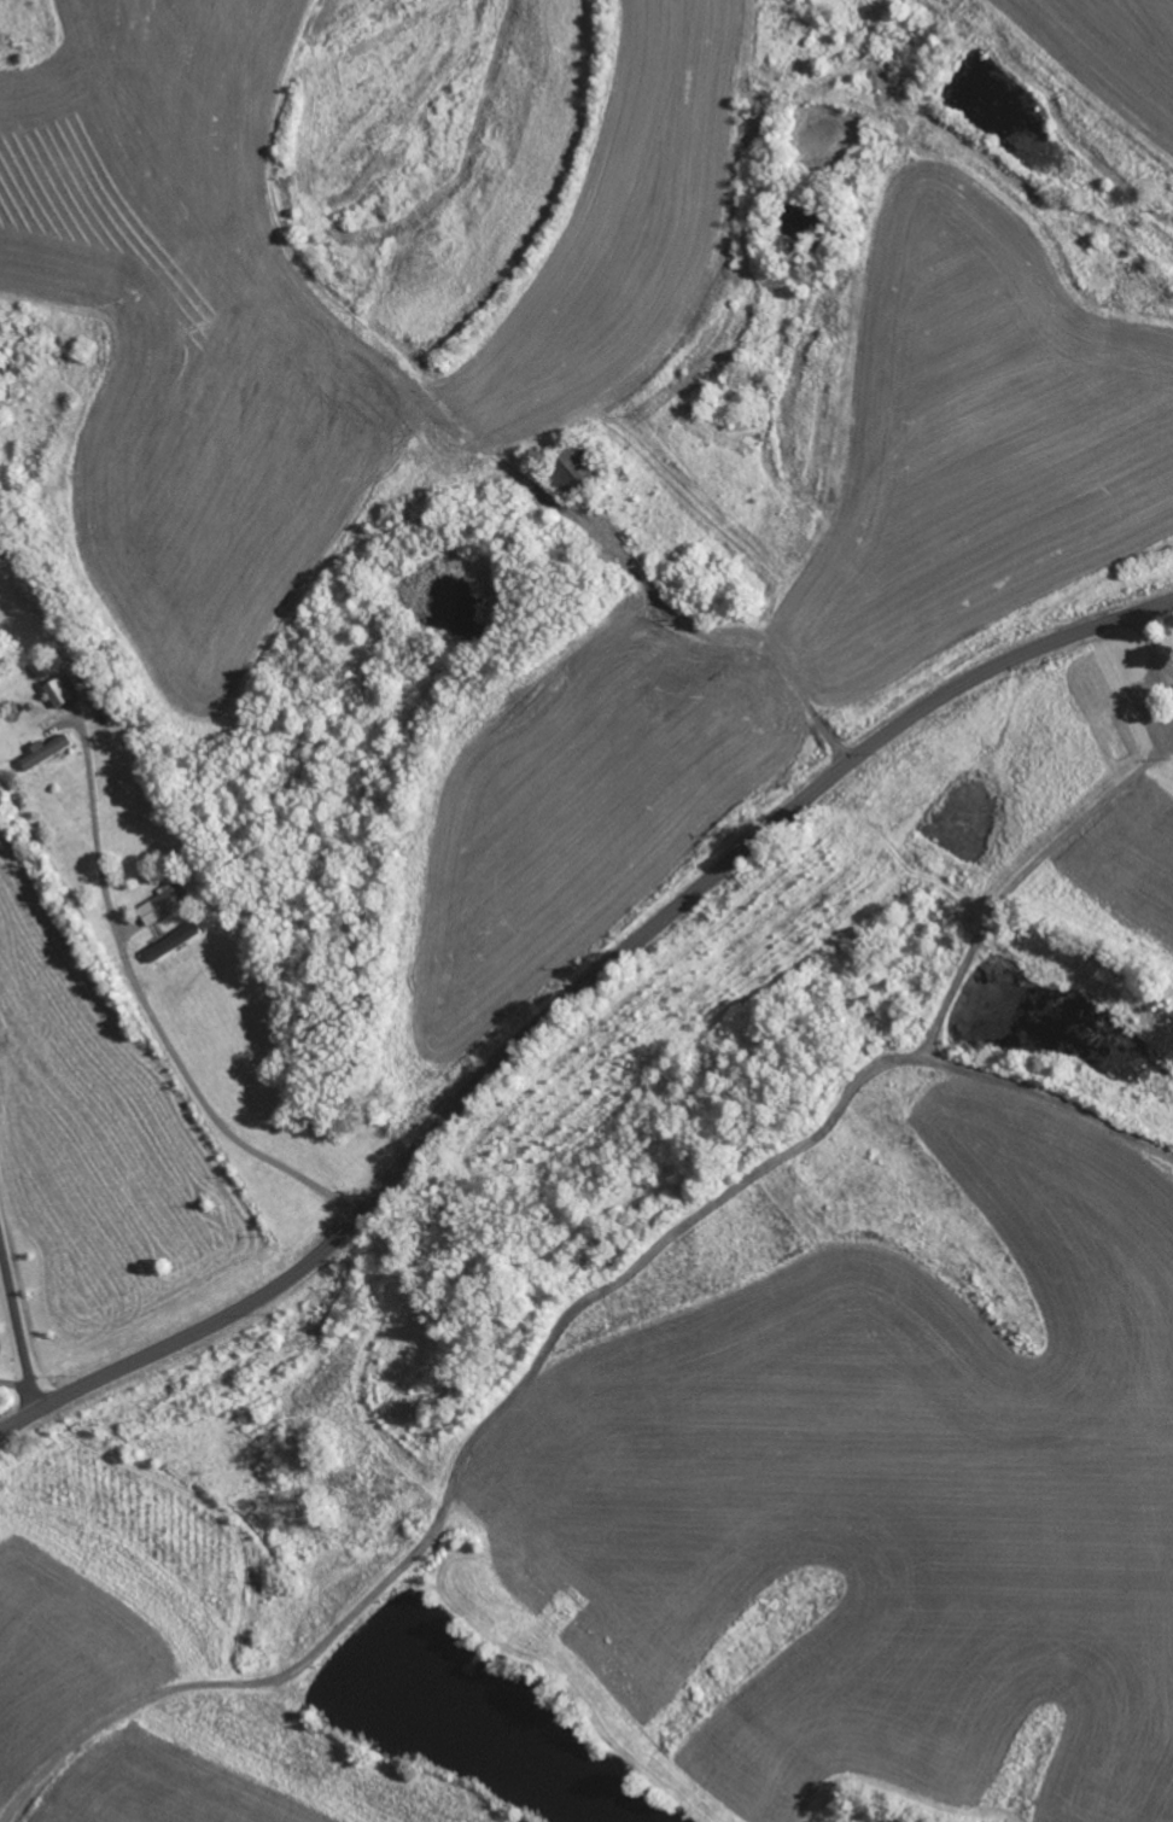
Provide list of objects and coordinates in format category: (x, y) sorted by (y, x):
building: (578, 461)
building: (46, 751)
road: (1073, 830)
building: (161, 905)
building: (175, 941)
road: (571, 1003)
road: (153, 1020)
road: (14, 1314)
road: (25, 1389)

